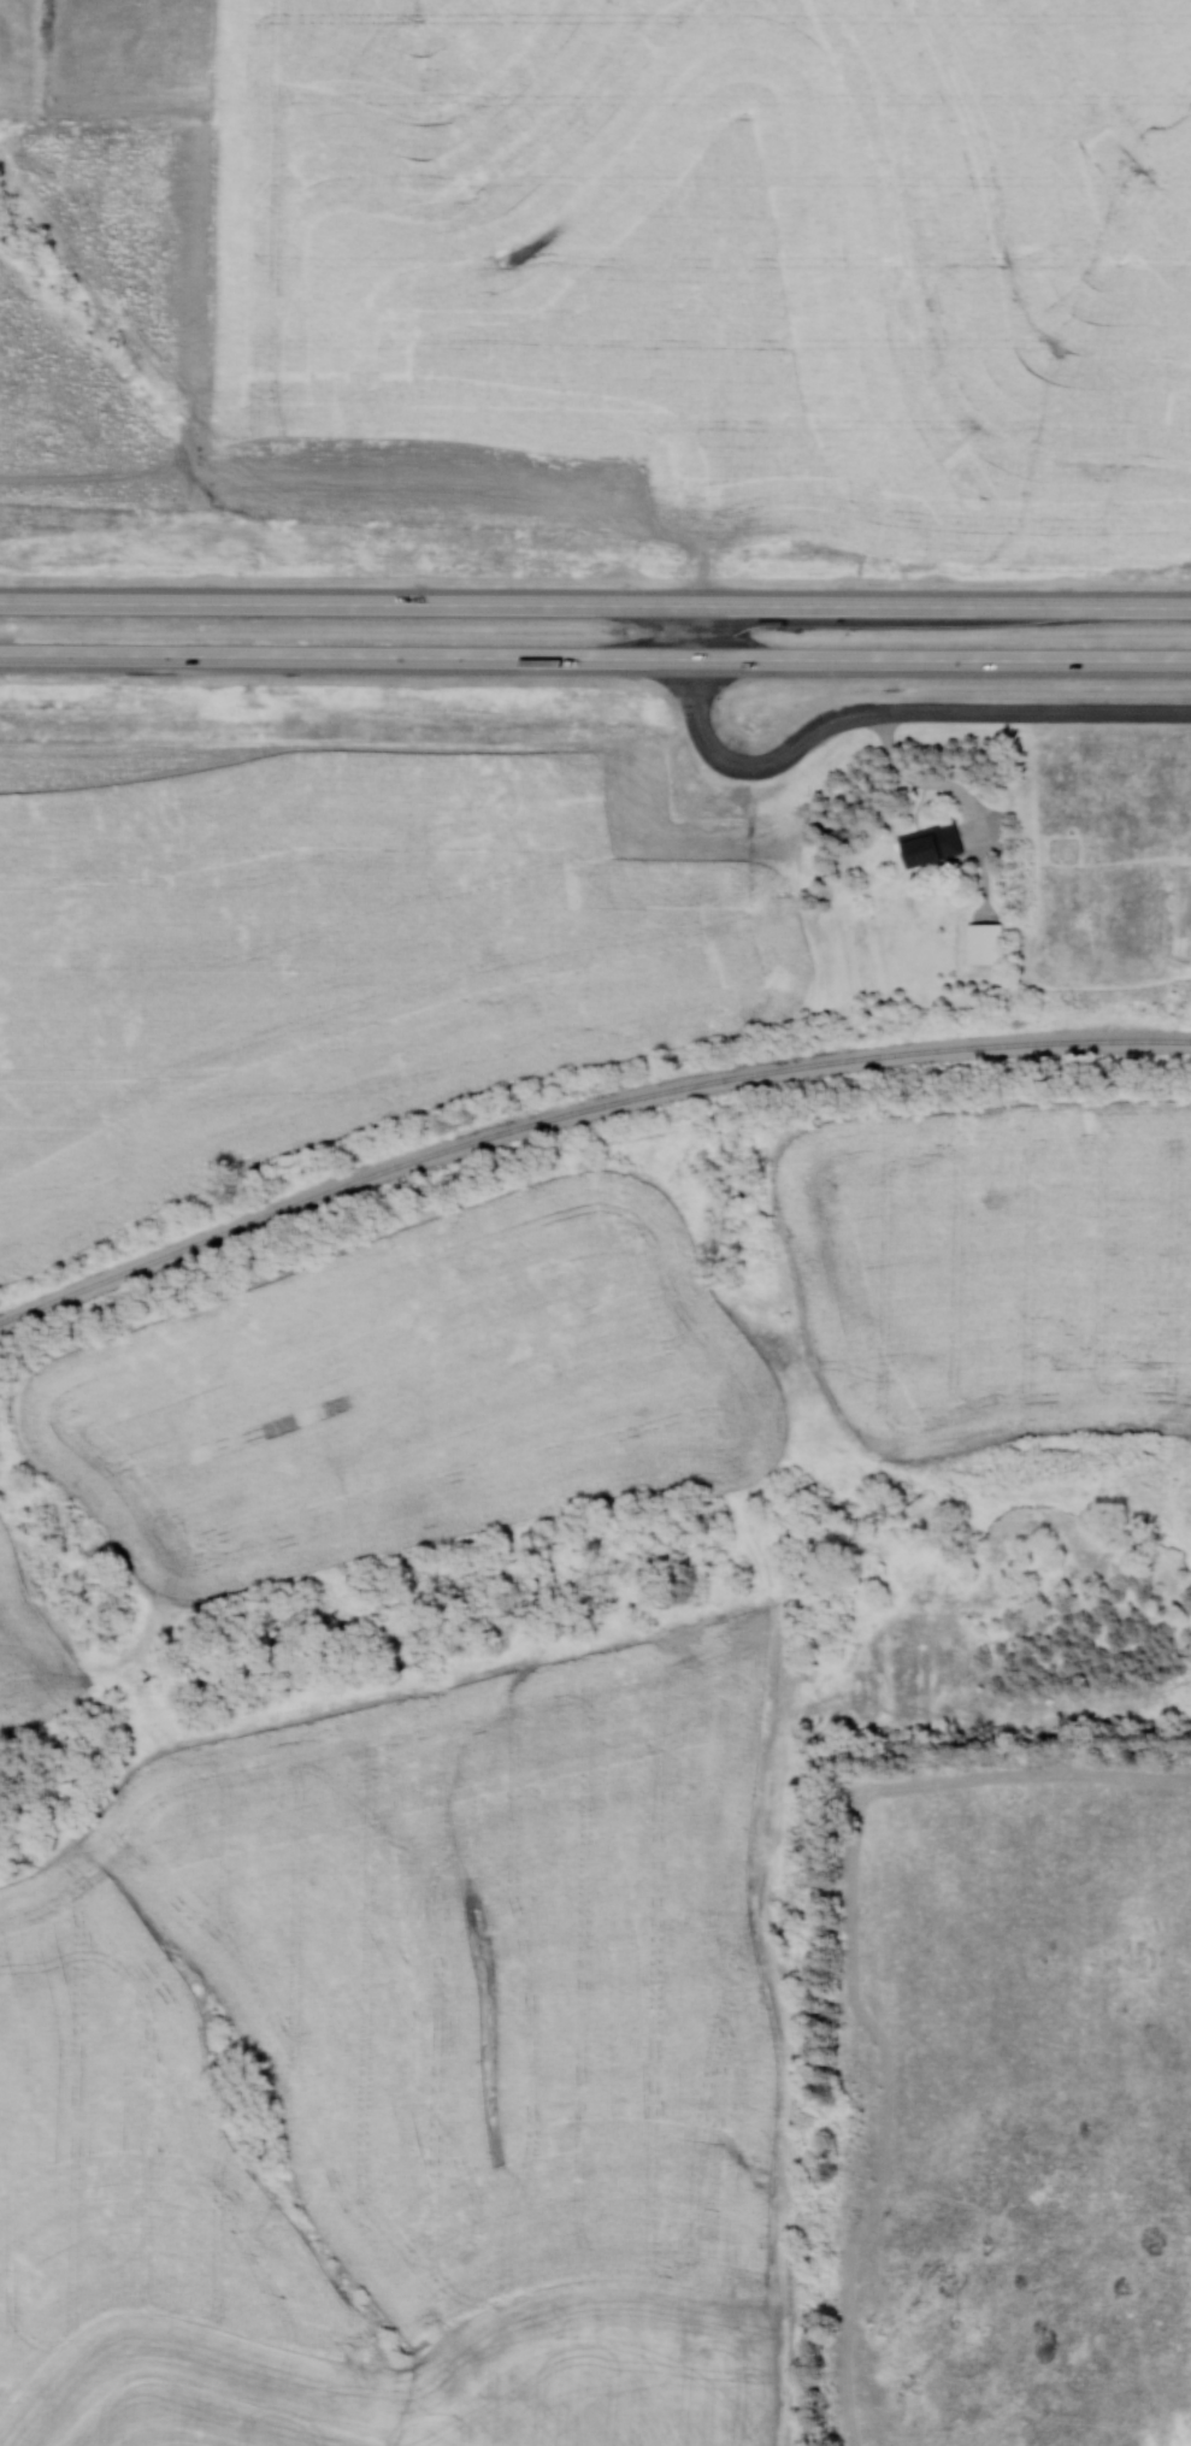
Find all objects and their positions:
crop: (717, 253)
road: (594, 589)
road: (987, 709)
road: (742, 760)
building: (928, 845)
building: (983, 944)
railway: (578, 1109)
park: (998, 2012)

